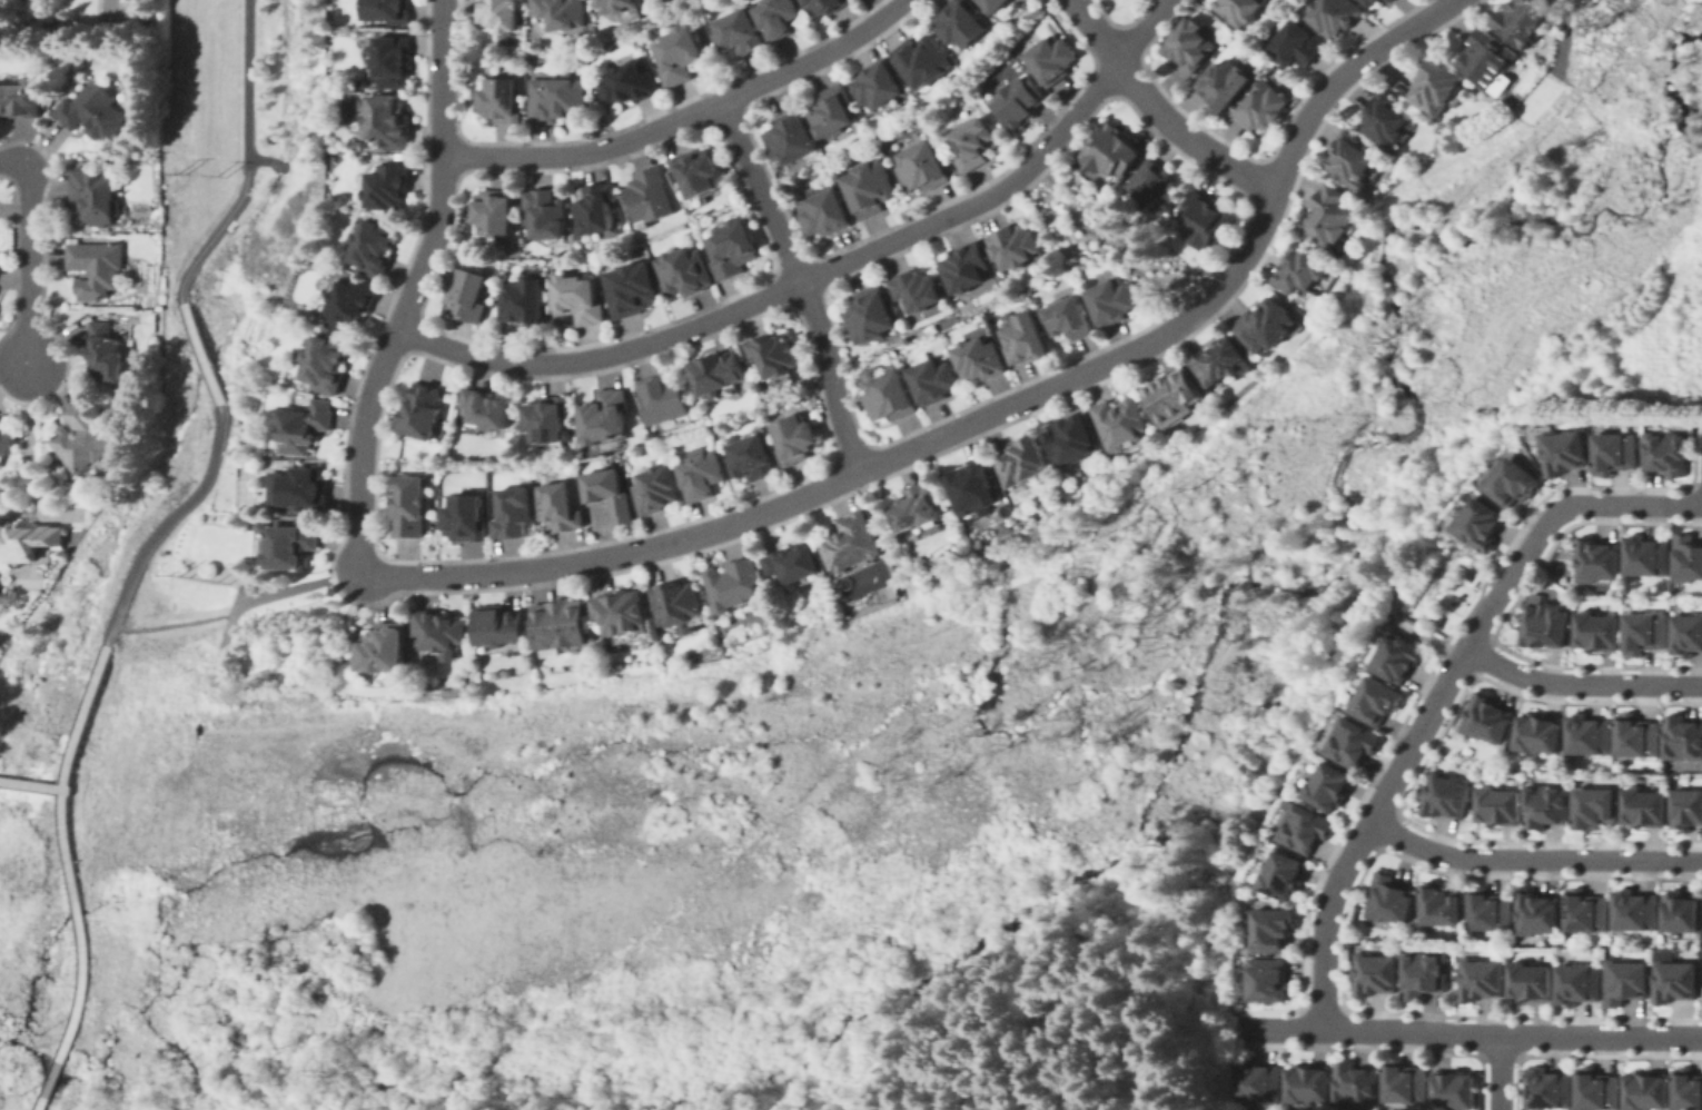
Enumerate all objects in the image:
building: (1385, 0)
building: (1388, 0)
building: (1369, 3)
building: (825, 6)
building: (999, 6)
building: (621, 9)
building: (384, 10)
building: (1239, 10)
building: (558, 12)
building: (502, 14)
building: (1522, 14)
building: (1330, 16)
building: (776, 18)
building: (964, 24)
building: (739, 33)
building: (1189, 44)
building: (1295, 44)
building: (1486, 51)
building: (680, 56)
building: (1052, 59)
building: (393, 61)
building: (924, 63)
building: (1435, 77)
building: (1228, 82)
building: (630, 83)
building: (358, 85)
building: (878, 86)
road: (245, 88)
building: (23, 98)
building: (554, 99)
building: (360, 100)
building: (497, 101)
building: (1018, 103)
building: (1266, 105)
building: (1384, 109)
building: (95, 111)
road: (1158, 111)
building: (831, 112)
road: (684, 116)
building: (390, 125)
building: (789, 143)
building: (971, 148)
building: (1111, 151)
road: (255, 157)
building: (1352, 160)
building: (921, 168)
building: (699, 174)
building: (1158, 186)
building: (388, 187)
building: (867, 188)
building: (651, 195)
building: (96, 197)
building: (594, 210)
building: (497, 211)
building: (1330, 212)
building: (544, 215)
building: (818, 215)
building: (1206, 220)
road: (1109, 232)
road: (207, 242)
building: (1021, 245)
building: (373, 247)
building: (732, 248)
road: (29, 255)
building: (96, 267)
building: (969, 268)
road: (824, 270)
building: (1305, 270)
building: (684, 271)
road: (802, 281)
building: (922, 287)
road: (414, 288)
building: (631, 289)
building: (466, 294)
building: (575, 300)
building: (1111, 300)
building: (521, 301)
building: (349, 303)
building: (874, 315)
building: (1068, 319)
building: (1273, 325)
building: (1025, 339)
road: (202, 350)
building: (106, 351)
building: (772, 358)
building: (1225, 361)
building: (976, 363)
building: (328, 364)
building: (719, 376)
building: (929, 380)
building: (1174, 396)
building: (888, 398)
building: (665, 399)
building: (424, 410)
building: (484, 413)
road: (989, 415)
building: (0, 416)
building: (606, 416)
building: (548, 420)
building: (1122, 423)
building: (304, 427)
building: (8, 438)
building: (89, 438)
building: (1076, 438)
building: (794, 444)
road: (26, 445)
building: (1566, 445)
building: (1616, 445)
building: (1669, 447)
building: (751, 458)
building: (1028, 462)
park: (179, 474)
building: (701, 475)
building: (1514, 484)
building: (979, 486)
building: (305, 487)
building: (610, 493)
building: (654, 495)
building: (410, 506)
building: (560, 507)
building: (920, 507)
building: (509, 515)
road: (174, 517)
building: (462, 521)
building: (1480, 529)
building: (851, 538)
building: (24, 542)
building: (293, 543)
building: (1646, 552)
building: (1690, 554)
building: (793, 556)
building: (1597, 557)
park: (1558, 562)
building: (734, 577)
building: (676, 595)
road: (264, 597)
park: (1452, 605)
building: (619, 608)
building: (498, 617)
building: (557, 617)
road: (175, 618)
building: (1545, 622)
building: (437, 623)
building: (1599, 627)
building: (1647, 628)
building: (1689, 628)
building: (385, 647)
park: (67, 650)
building: (1398, 660)
road: (1579, 683)
road: (1439, 692)
building: (1377, 703)
building: (1487, 718)
building: (1540, 734)
building: (1589, 734)
road: (72, 737)
building: (1635, 737)
building: (1683, 739)
building: (1356, 743)
road: (33, 783)
building: (1328, 787)
building: (1445, 796)
building: (1546, 805)
building: (1500, 806)
building: (1594, 806)
building: (1689, 806)
building: (1645, 807)
building: (1307, 829)
road: (1532, 858)
park: (32, 871)
building: (1284, 878)
building: (1387, 900)
building: (1441, 906)
building: (1587, 908)
building: (1488, 909)
building: (1636, 910)
building: (1680, 911)
building: (1537, 914)
building: (1274, 929)
building: (1375, 973)
building: (1424, 973)
road: (77, 975)
building: (1482, 979)
building: (1531, 980)
building: (1672, 980)
building: (1269, 982)
building: (1625, 983)
building: (1579, 984)
park: (132, 998)
road: (1370, 1028)
road: (1600, 1035)
road: (1496, 1072)
building: (1260, 1082)
building: (1404, 1083)
building: (1355, 1084)
building: (1307, 1086)
building: (1644, 1088)
building: (1686, 1088)
building: (1597, 1089)
building: (1453, 1090)
building: (1550, 1090)

